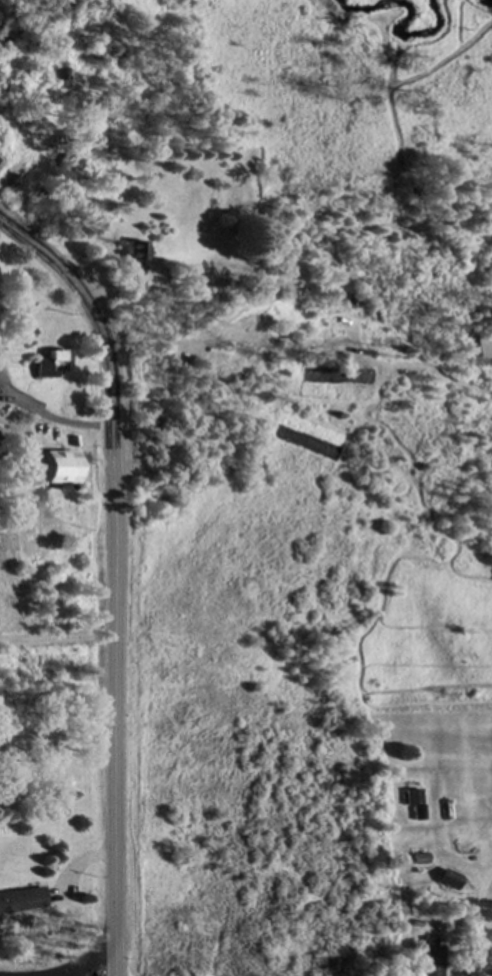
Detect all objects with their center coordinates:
building: (135, 255)
road: (54, 265)
building: (149, 277)
road: (166, 341)
building: (53, 367)
road: (2, 389)
road: (4, 403)
road: (58, 420)
building: (57, 468)
road: (56, 636)
road: (114, 647)
building: (412, 799)
building: (448, 881)
building: (23, 902)
road: (477, 921)
building: (432, 959)
road: (93, 961)

